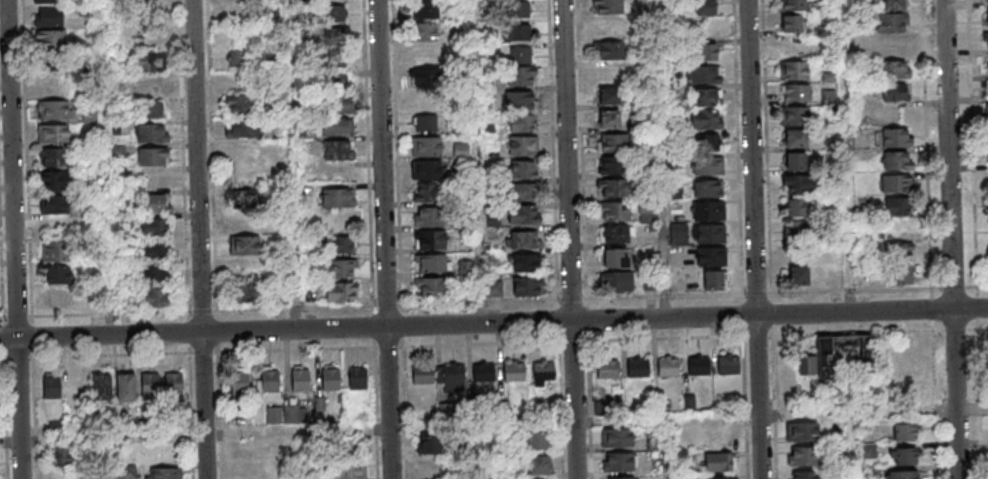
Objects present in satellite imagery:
building: (48, 1)
building: (986, 1)
building: (797, 4)
building: (891, 4)
building: (606, 6)
building: (705, 7)
building: (424, 9)
building: (520, 9)
building: (240, 13)
building: (334, 13)
building: (49, 16)
building: (987, 17)
building: (892, 22)
building: (790, 23)
building: (424, 32)
building: (521, 32)
building: (334, 36)
building: (50, 40)
building: (985, 40)
building: (892, 46)
building: (610, 50)
building: (707, 51)
building: (522, 54)
building: (240, 58)
building: (335, 61)
building: (150, 62)
building: (987, 64)
building: (793, 70)
building: (895, 70)
building: (703, 74)
building: (523, 76)
building: (424, 77)
building: (987, 87)
building: (796, 92)
building: (895, 93)
building: (608, 95)
building: (706, 96)
building: (521, 100)
building: (240, 104)
building: (339, 104)
building: (54, 109)
building: (151, 109)
building: (986, 110)
building: (89, 115)
building: (795, 115)
building: (608, 118)
building: (706, 119)
building: (425, 123)
building: (523, 123)
building: (336, 127)
building: (241, 128)
building: (151, 132)
building: (53, 133)
building: (987, 133)
building: (896, 137)
building: (795, 138)
building: (612, 142)
building: (707, 142)
road: (974, 144)
building: (426, 146)
building: (523, 146)
road: (740, 148)
building: (338, 150)
building: (118, 151)
building: (460, 151)
road: (371, 154)
building: (53, 156)
building: (152, 156)
road: (854, 156)
road: (659, 159)
building: (795, 160)
building: (897, 160)
road: (475, 162)
road: (291, 165)
building: (610, 165)
building: (707, 165)
road: (104, 168)
building: (524, 169)
building: (426, 170)
road: (399, 173)
building: (55, 180)
building: (897, 183)
building: (798, 184)
building: (613, 187)
building: (707, 187)
building: (427, 192)
building: (523, 193)
building: (336, 197)
building: (242, 199)
building: (155, 203)
building: (54, 204)
building: (897, 206)
building: (797, 207)
building: (708, 210)
building: (614, 211)
building: (646, 214)
building: (524, 215)
building: (427, 216)
building: (154, 227)
building: (797, 230)
building: (615, 233)
building: (678, 233)
building: (709, 233)
road: (13, 239)
road: (197, 239)
road: (387, 239)
building: (430, 239)
road: (571, 239)
road: (755, 239)
road: (954, 239)
building: (524, 240)
building: (244, 245)
building: (339, 245)
building: (155, 250)
building: (53, 251)
building: (711, 256)
building: (614, 257)
building: (900, 261)
building: (525, 262)
building: (430, 264)
building: (341, 269)
building: (153, 273)
building: (57, 274)
building: (798, 275)
building: (714, 279)
building: (616, 281)
building: (527, 285)
road: (983, 287)
building: (429, 288)
building: (493, 289)
building: (248, 292)
road: (850, 292)
building: (340, 293)
building: (59, 298)
building: (155, 298)
road: (296, 308)
road: (744, 316)
road: (494, 324)
road: (983, 328)
road: (976, 329)
road: (897, 331)
road: (218, 332)
road: (714, 337)
building: (837, 353)
building: (698, 364)
building: (728, 364)
building: (667, 365)
building: (638, 367)
building: (606, 368)
building: (513, 370)
building: (483, 372)
building: (543, 373)
building: (422, 374)
building: (357, 377)
building: (451, 377)
building: (331, 378)
building: (300, 379)
building: (239, 381)
building: (270, 381)
building: (149, 383)
building: (173, 383)
building: (51, 387)
building: (101, 387)
building: (125, 387)
road: (376, 393)
road: (980, 403)
road: (935, 405)
road: (746, 407)
road: (774, 407)
building: (602, 408)
road: (404, 413)
building: (273, 415)
building: (294, 415)
building: (235, 417)
road: (494, 421)
building: (801, 431)
building: (904, 431)
building: (617, 437)
building: (536, 440)
building: (429, 444)
road: (854, 444)
road: (668, 447)
road: (482, 450)
road: (294, 452)
road: (112, 456)
building: (803, 456)
building: (904, 456)
building: (60, 457)
building: (619, 461)
building: (718, 462)
building: (537, 464)
building: (348, 470)
building: (129, 473)
building: (163, 473)
building: (903, 474)
building: (803, 475)
building: (619, 478)
building: (720, 478)

